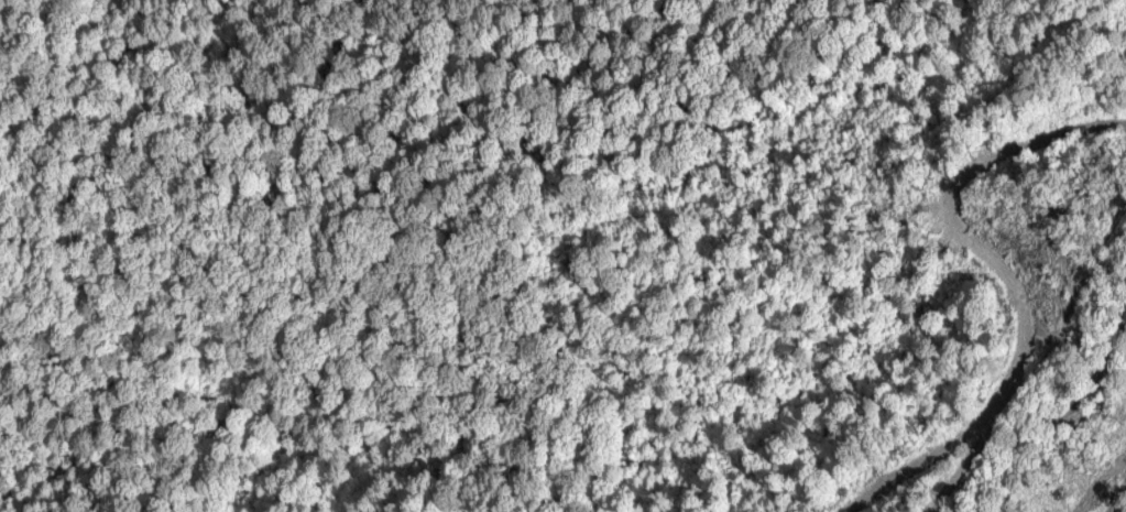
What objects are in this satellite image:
road: (1006, 287)
road: (962, 468)
road: (1101, 483)

